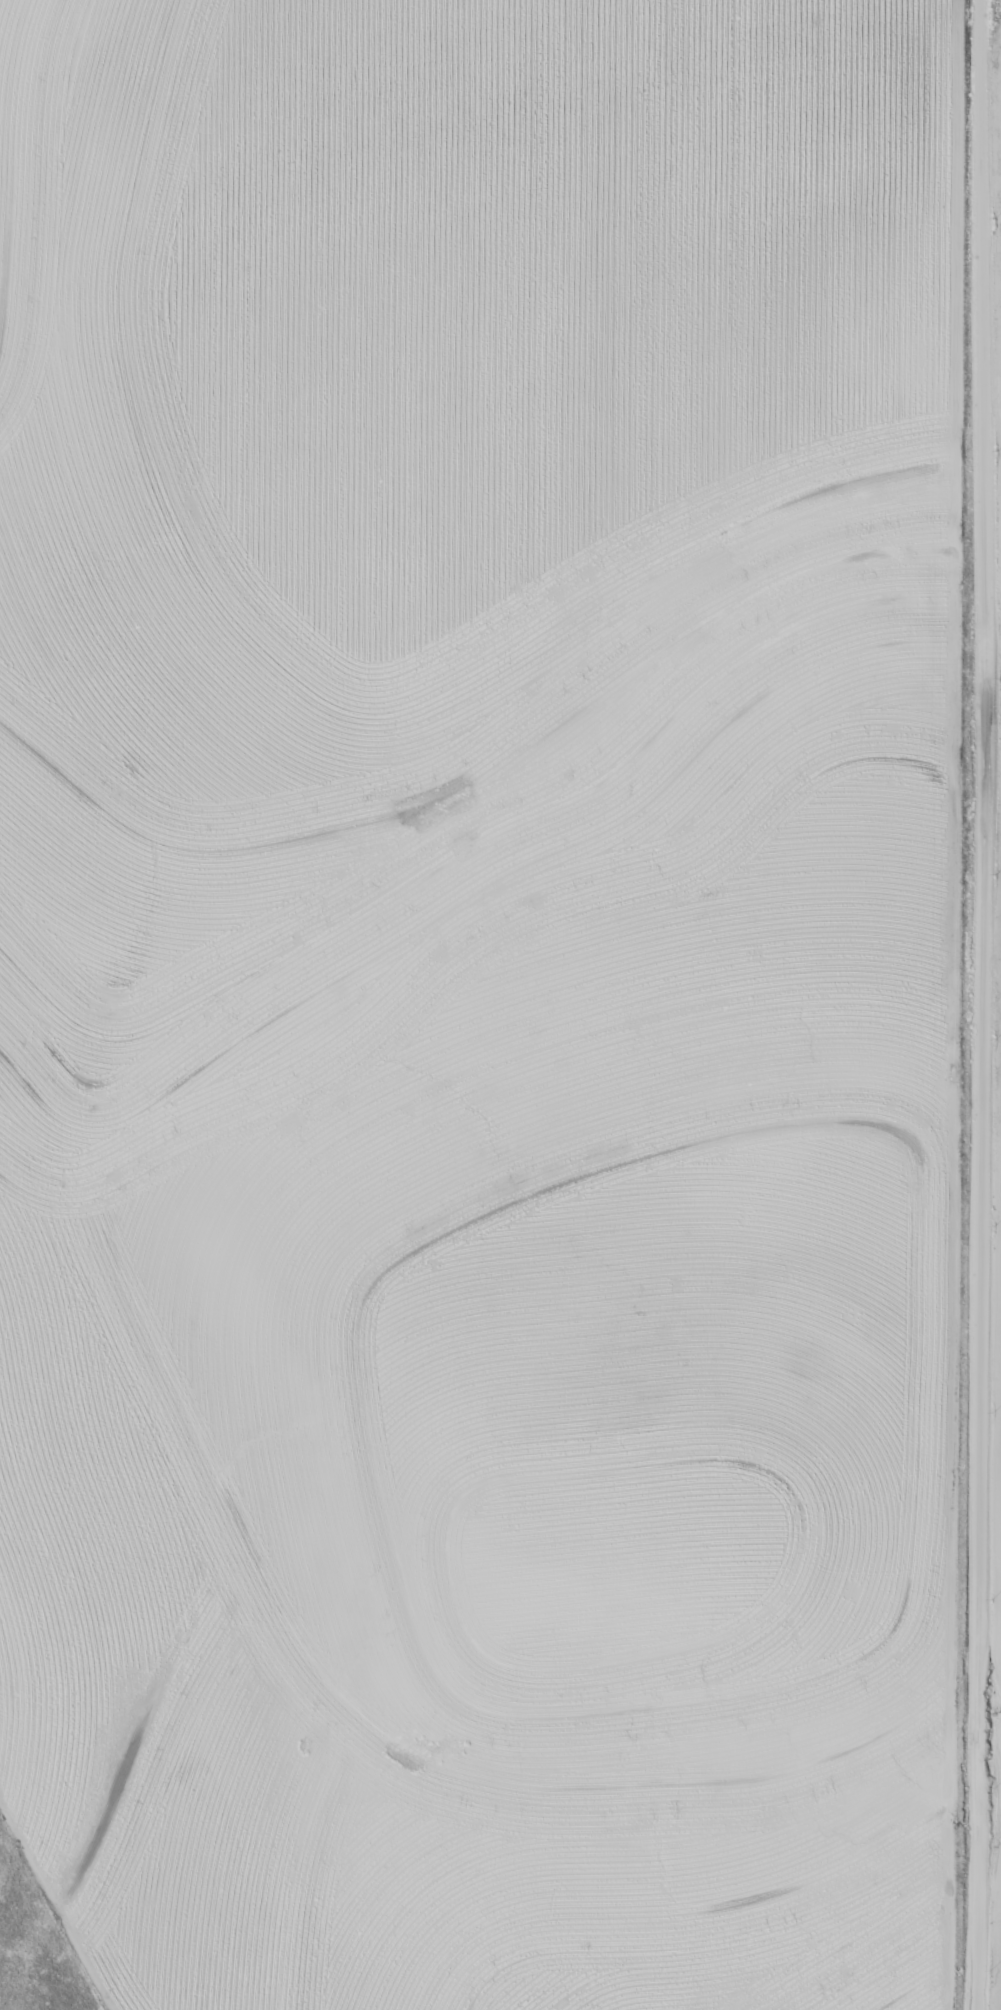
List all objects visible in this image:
road: (985, 1004)

